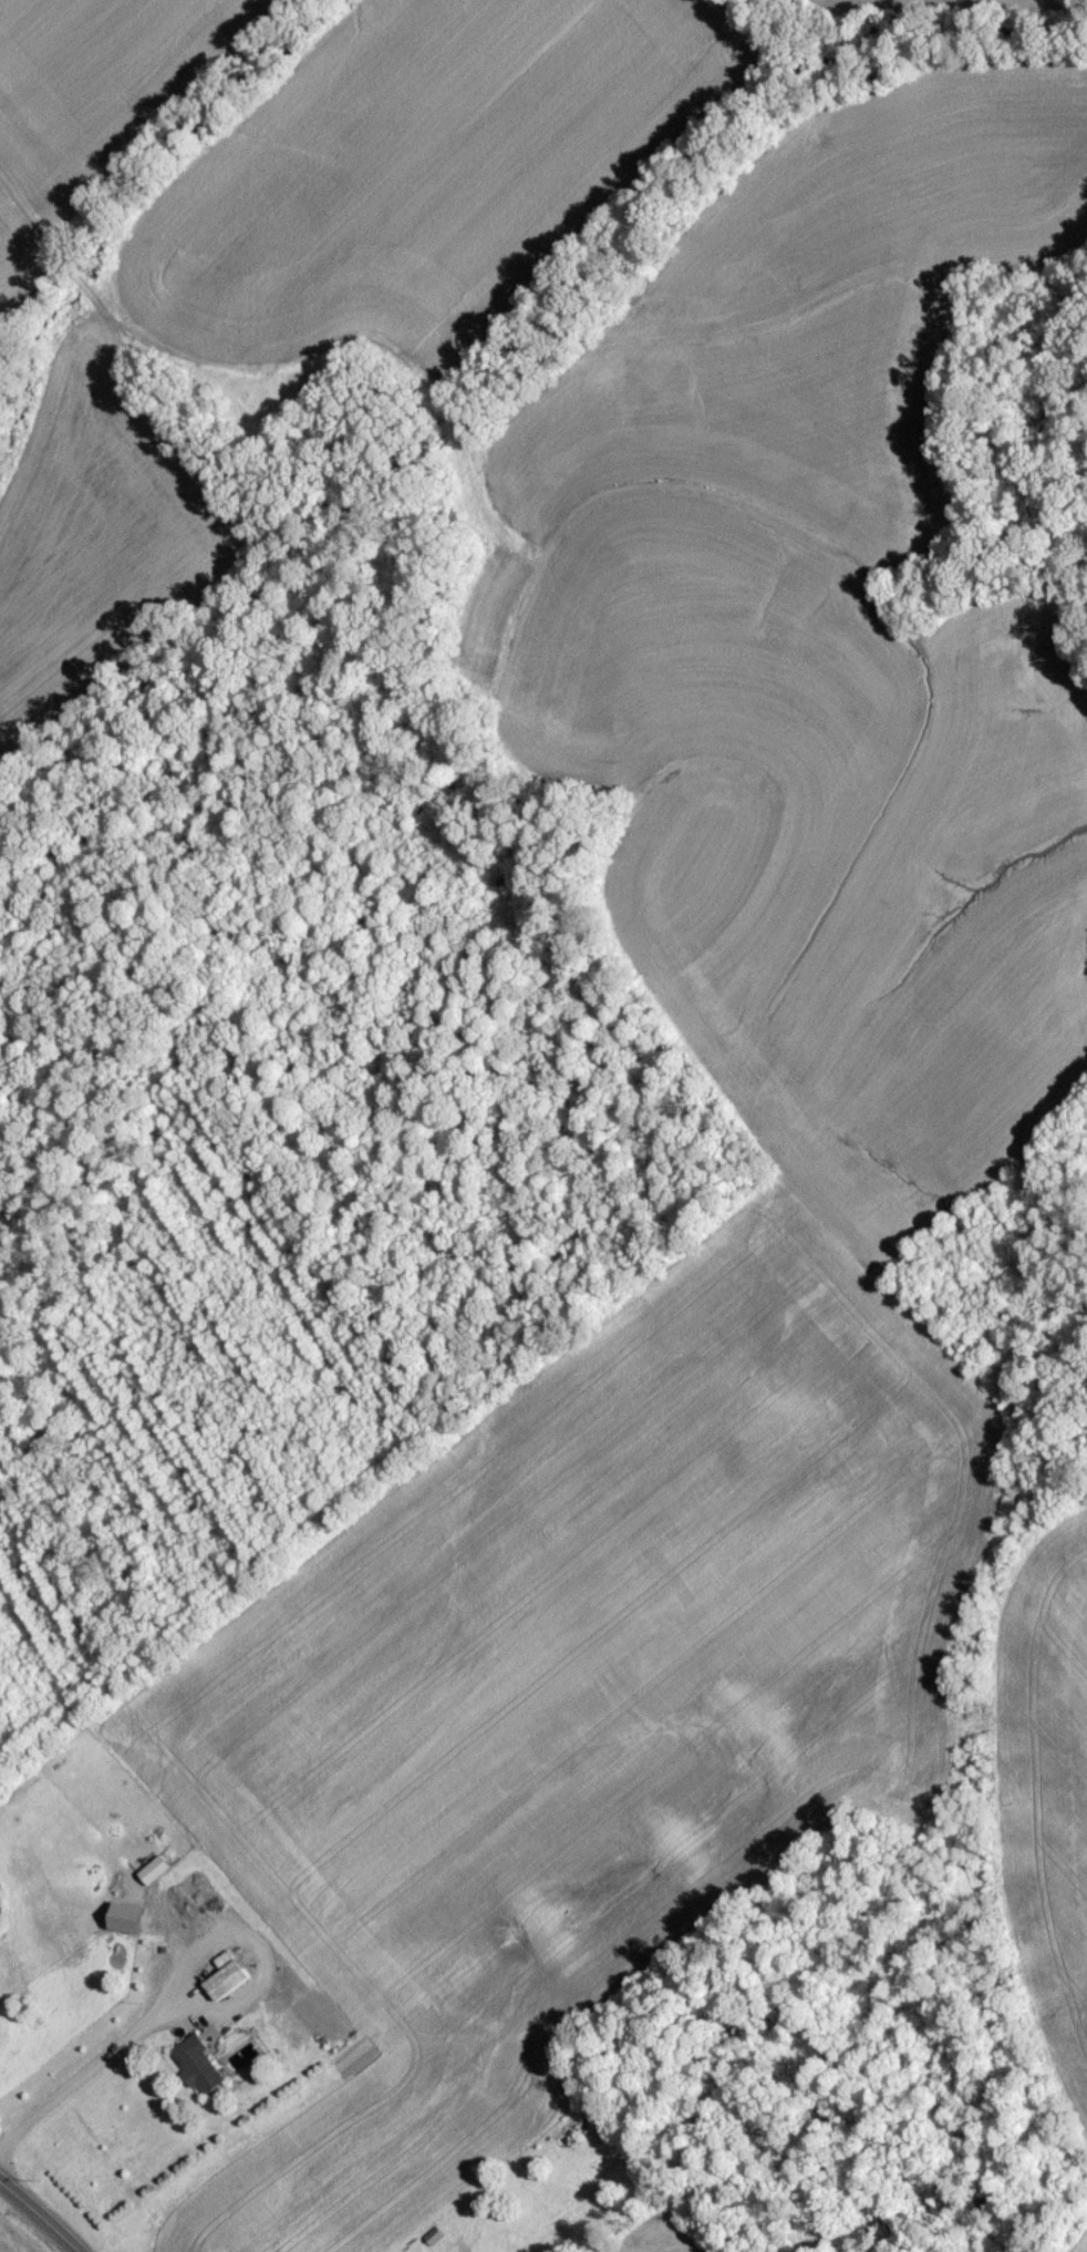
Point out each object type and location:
building: (155, 1876)
building: (228, 1986)
road: (90, 2069)
building: (198, 2073)
road: (35, 2219)

